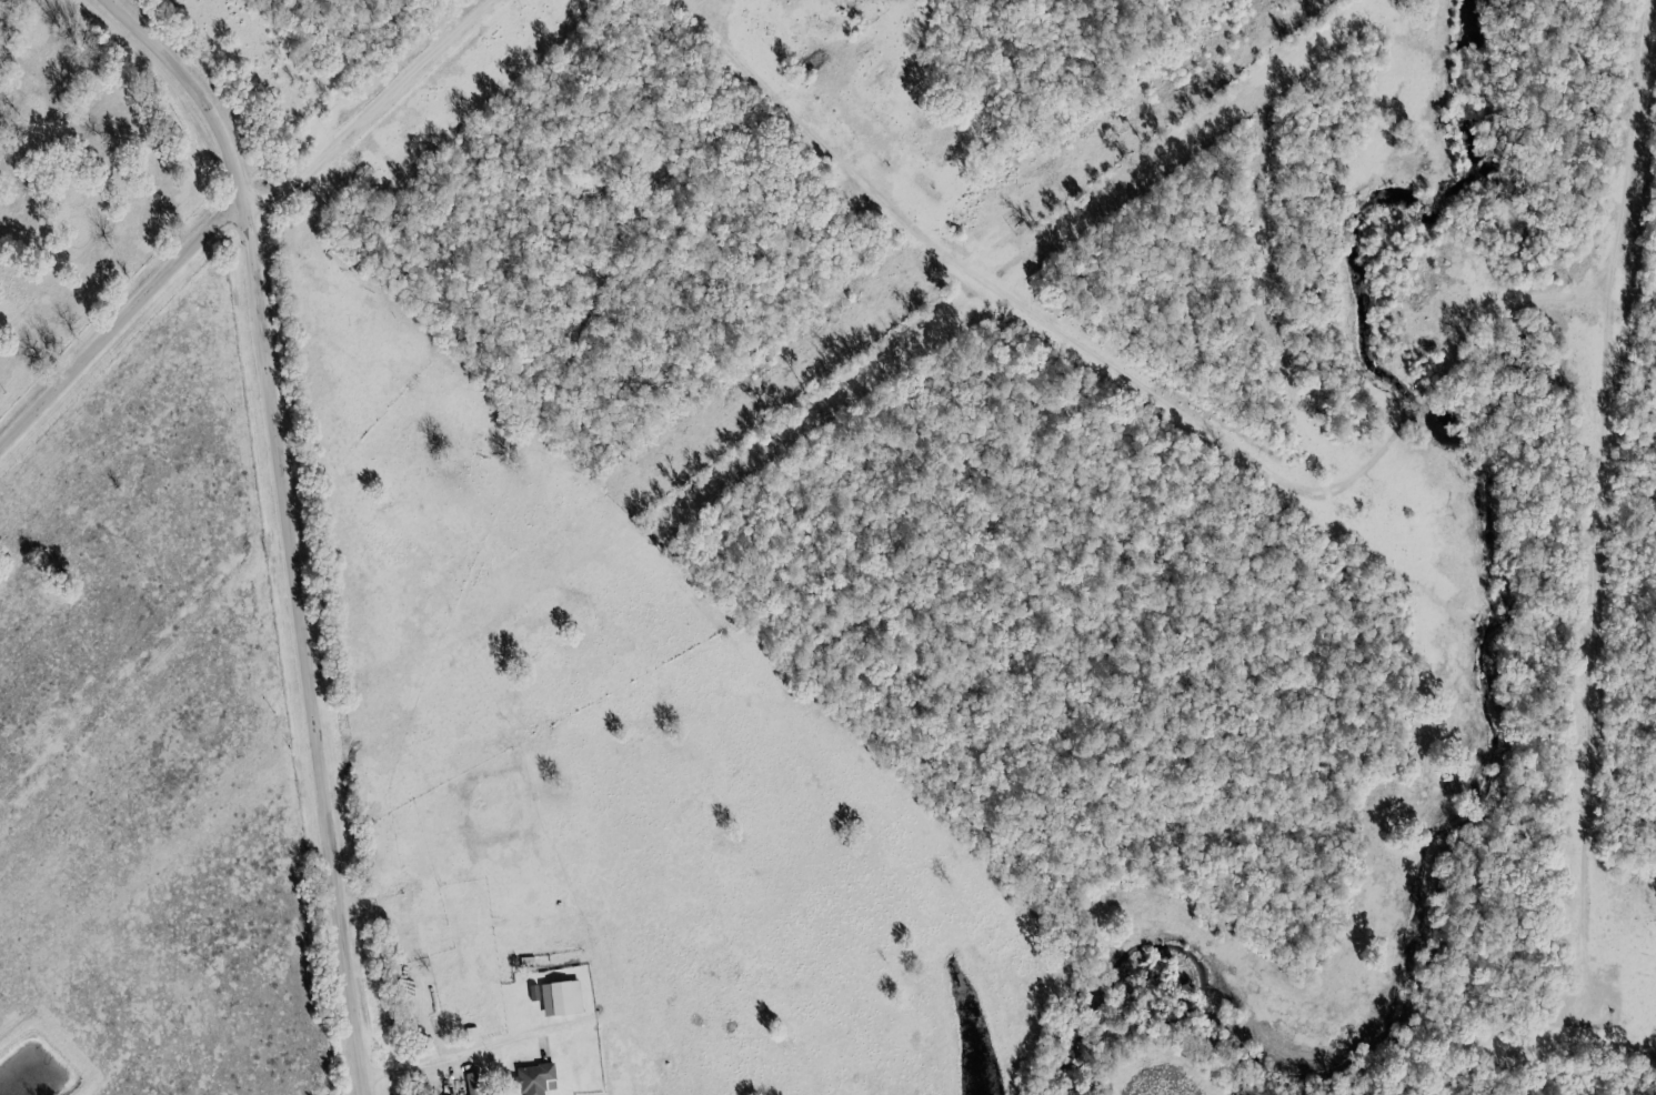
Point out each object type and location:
road: (198, 89)
road: (377, 108)
road: (119, 322)
road: (1607, 460)
road: (305, 650)
river: (1506, 721)
building: (534, 993)
building: (562, 998)
building: (538, 1078)
building: (473, 1083)

